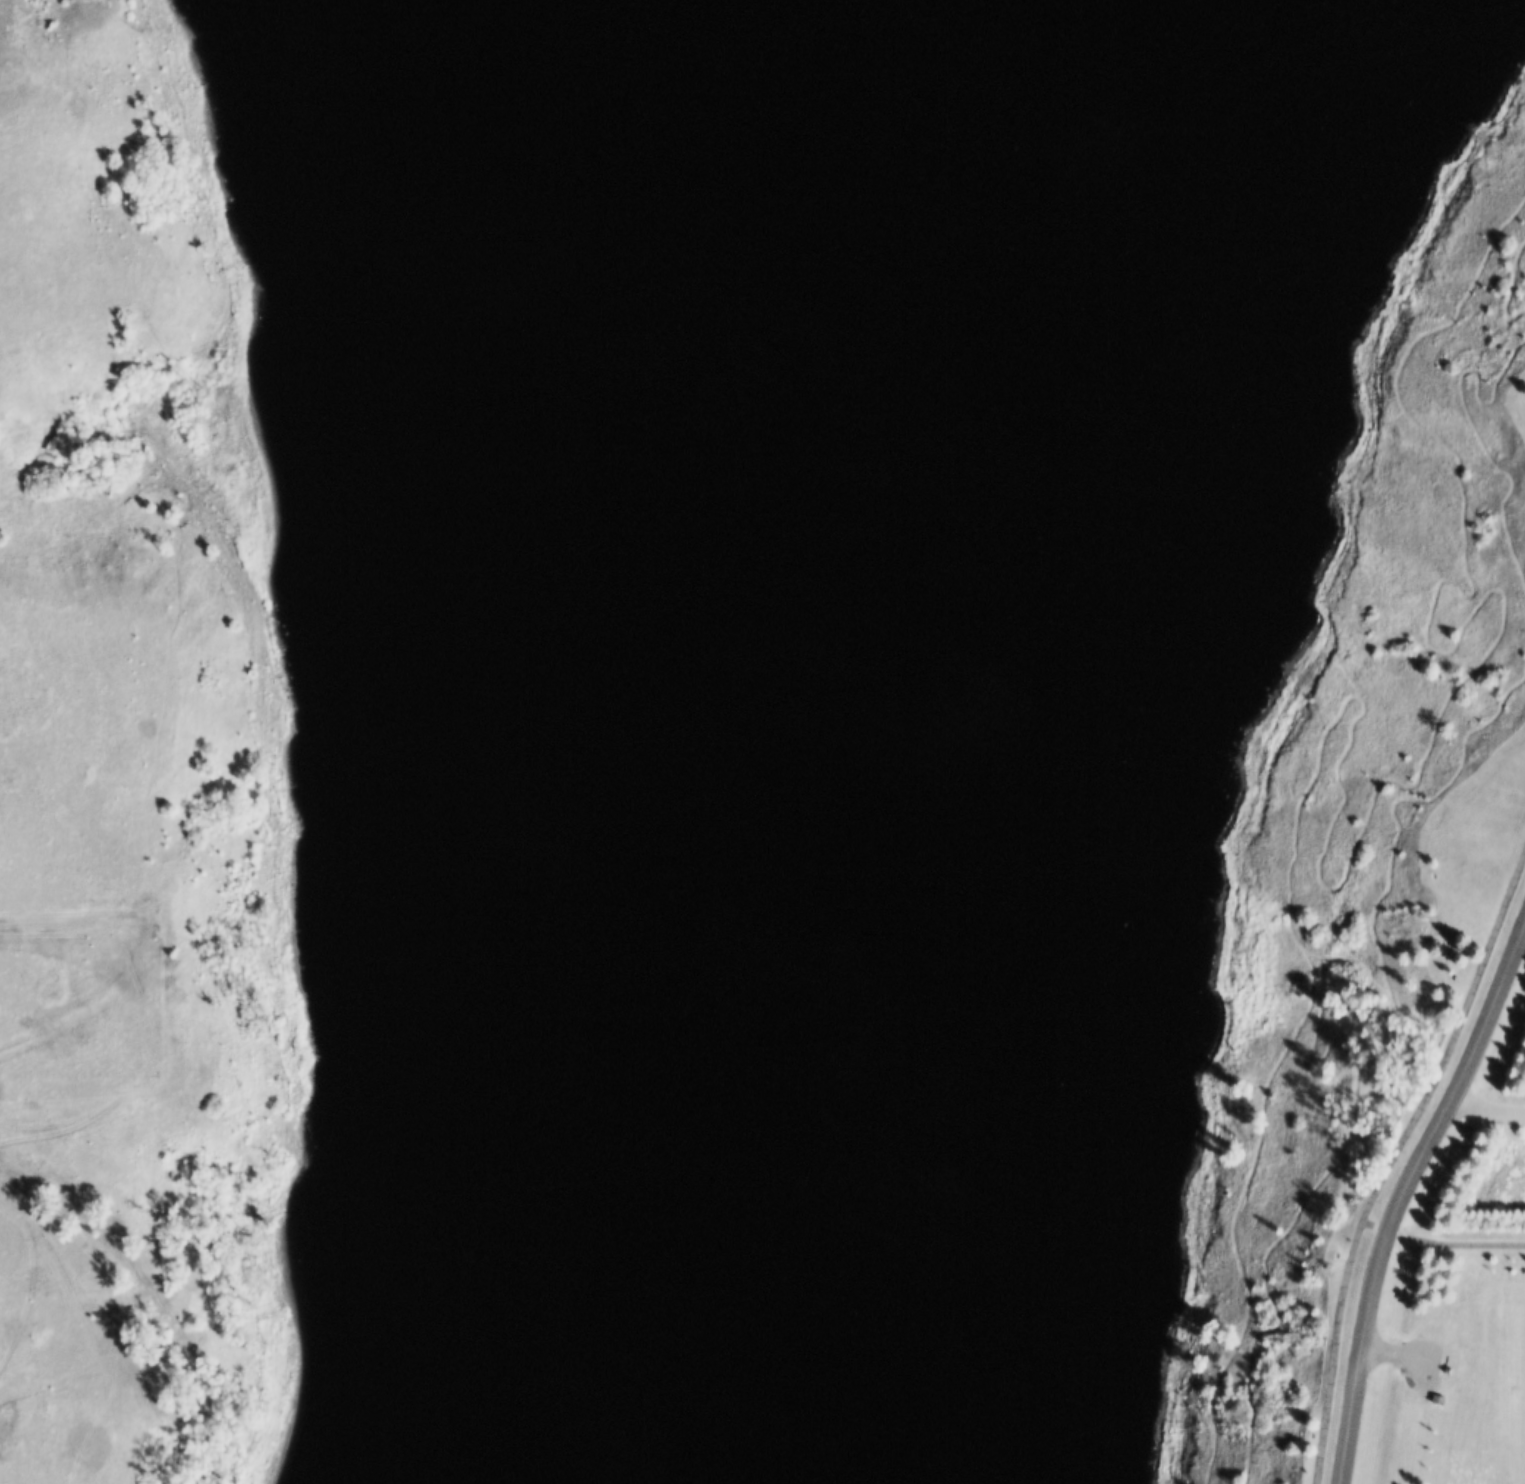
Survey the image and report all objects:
river: (639, 707)
road: (64, 934)
road: (1524, 935)
road: (1488, 1109)
road: (1389, 1158)
road: (1401, 1196)
road: (1441, 1245)
road: (1396, 1351)
building: (1442, 1399)
river: (615, 1449)
river: (657, 1449)

